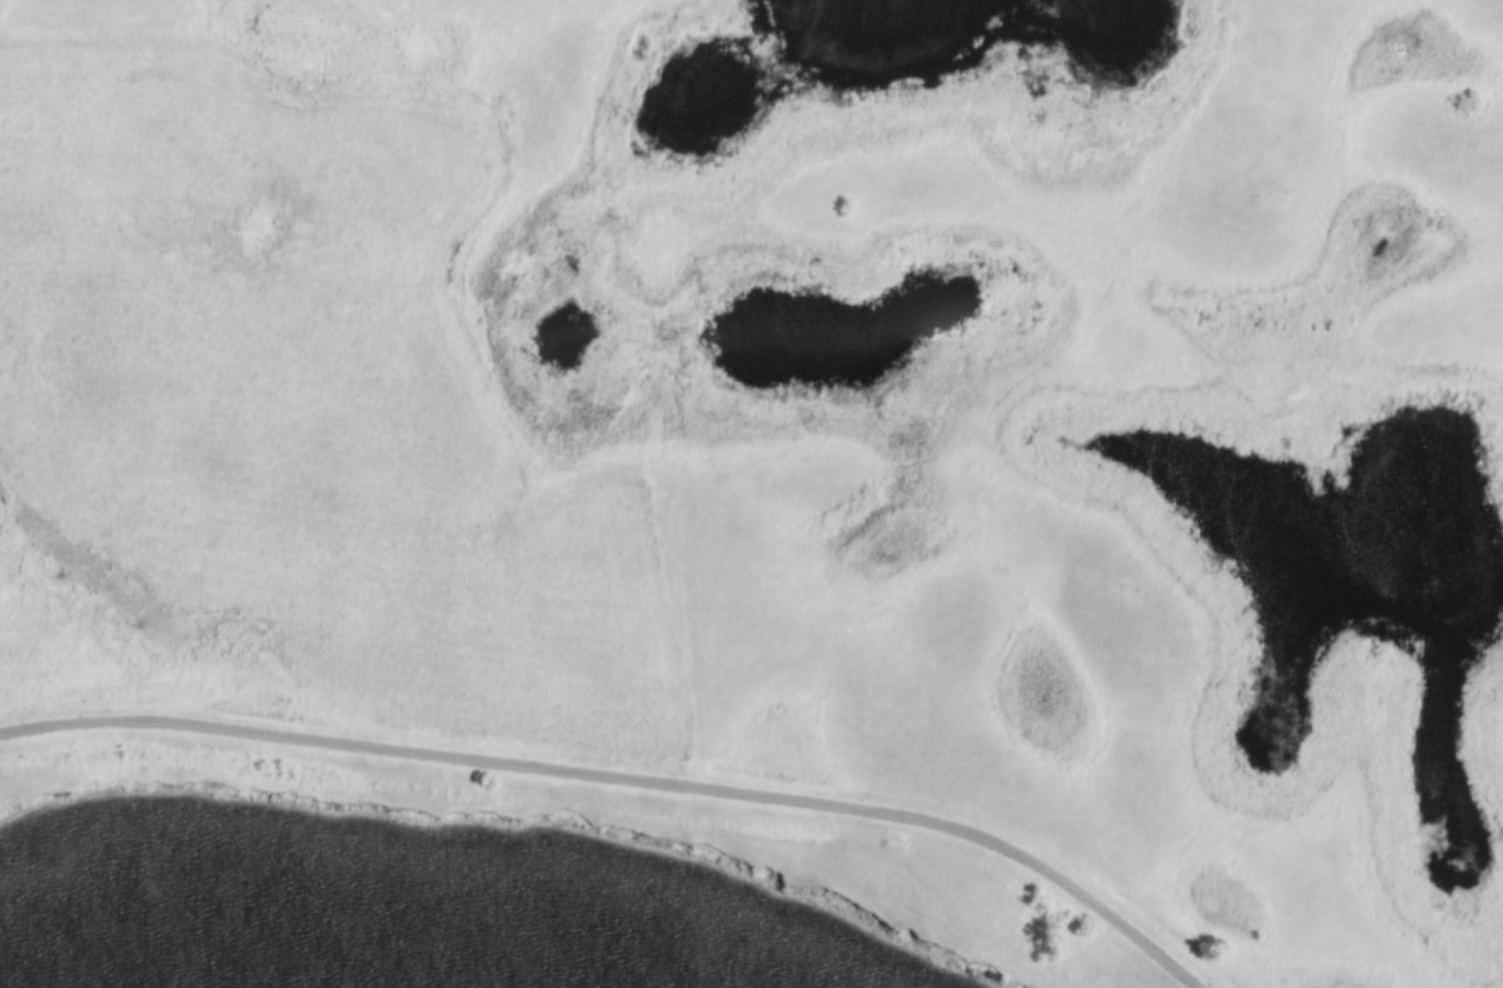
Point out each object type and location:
road: (615, 785)

